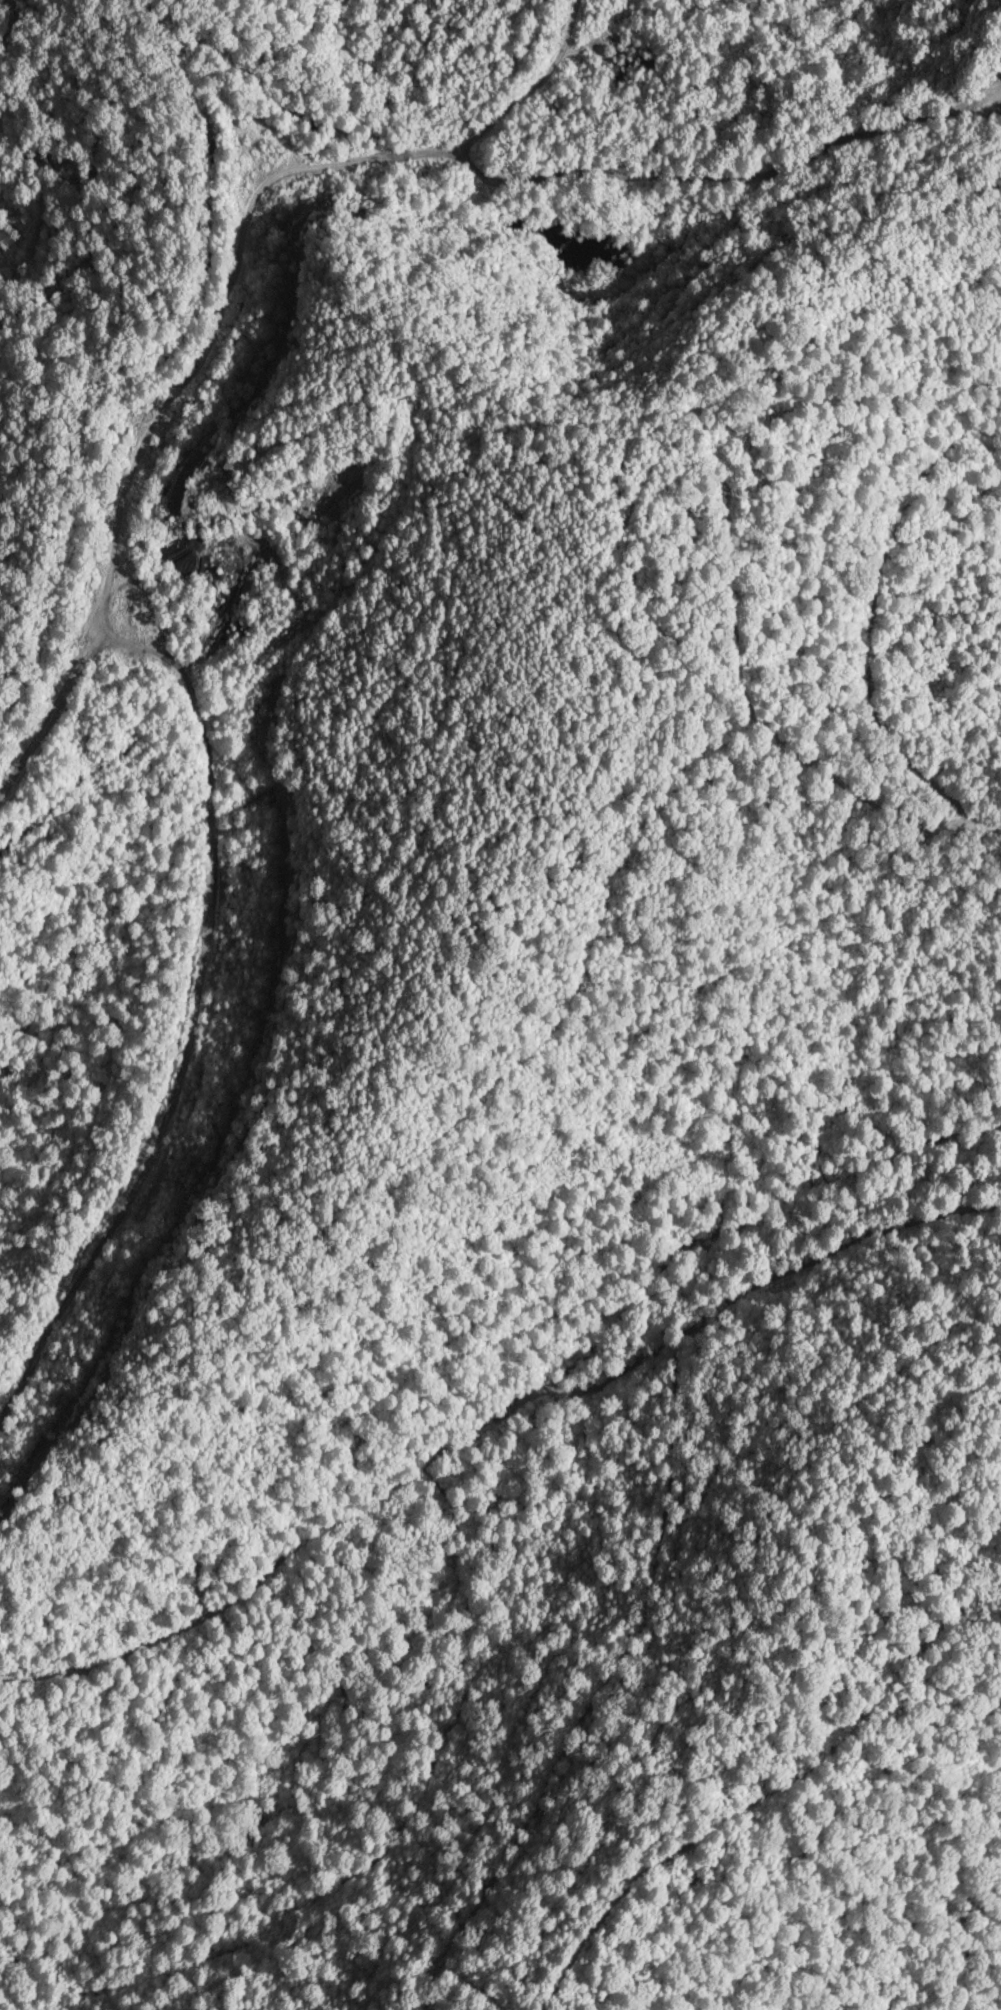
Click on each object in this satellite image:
road: (729, 1925)

